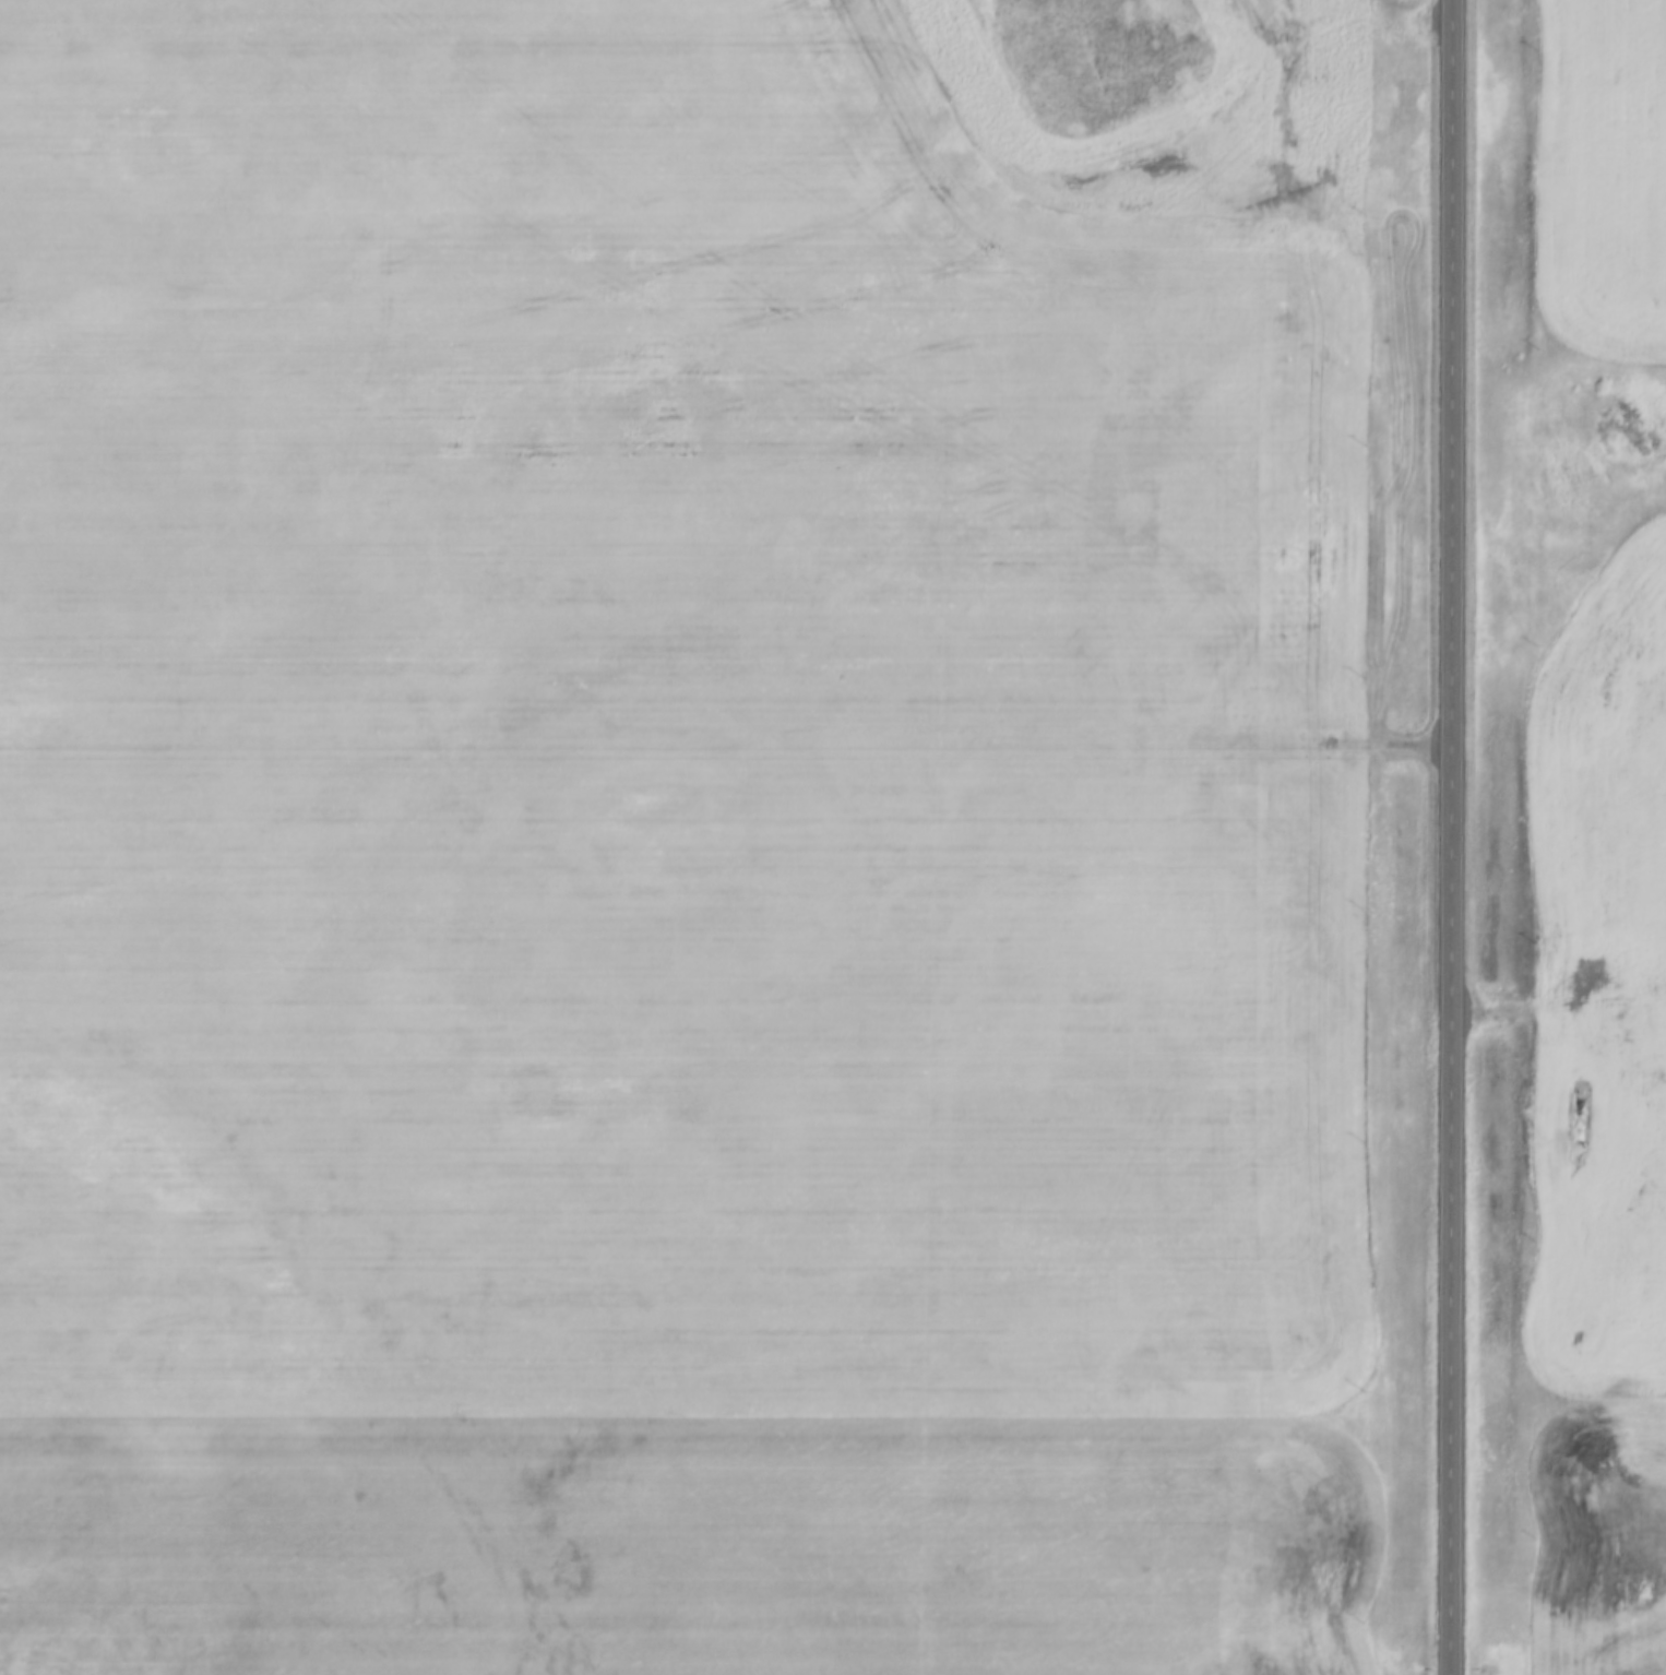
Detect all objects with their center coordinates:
road: (1445, 836)

